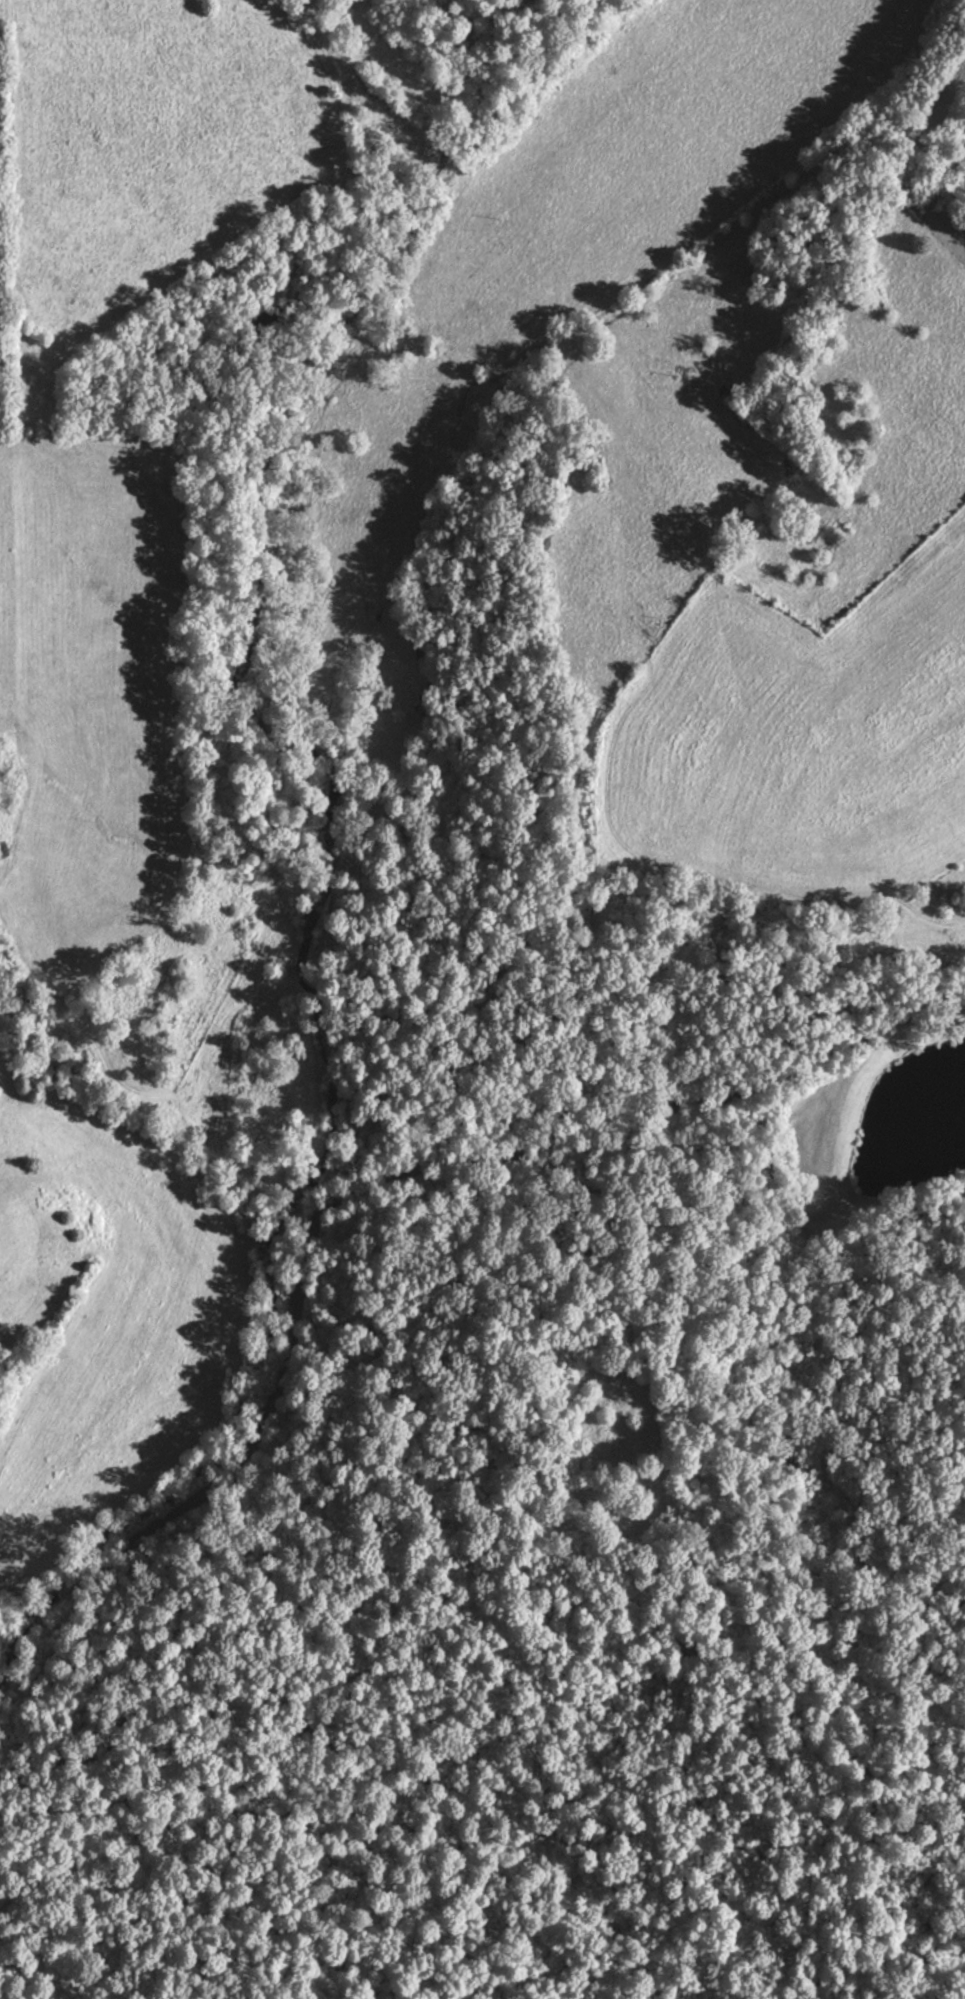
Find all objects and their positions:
road: (372, 1185)

